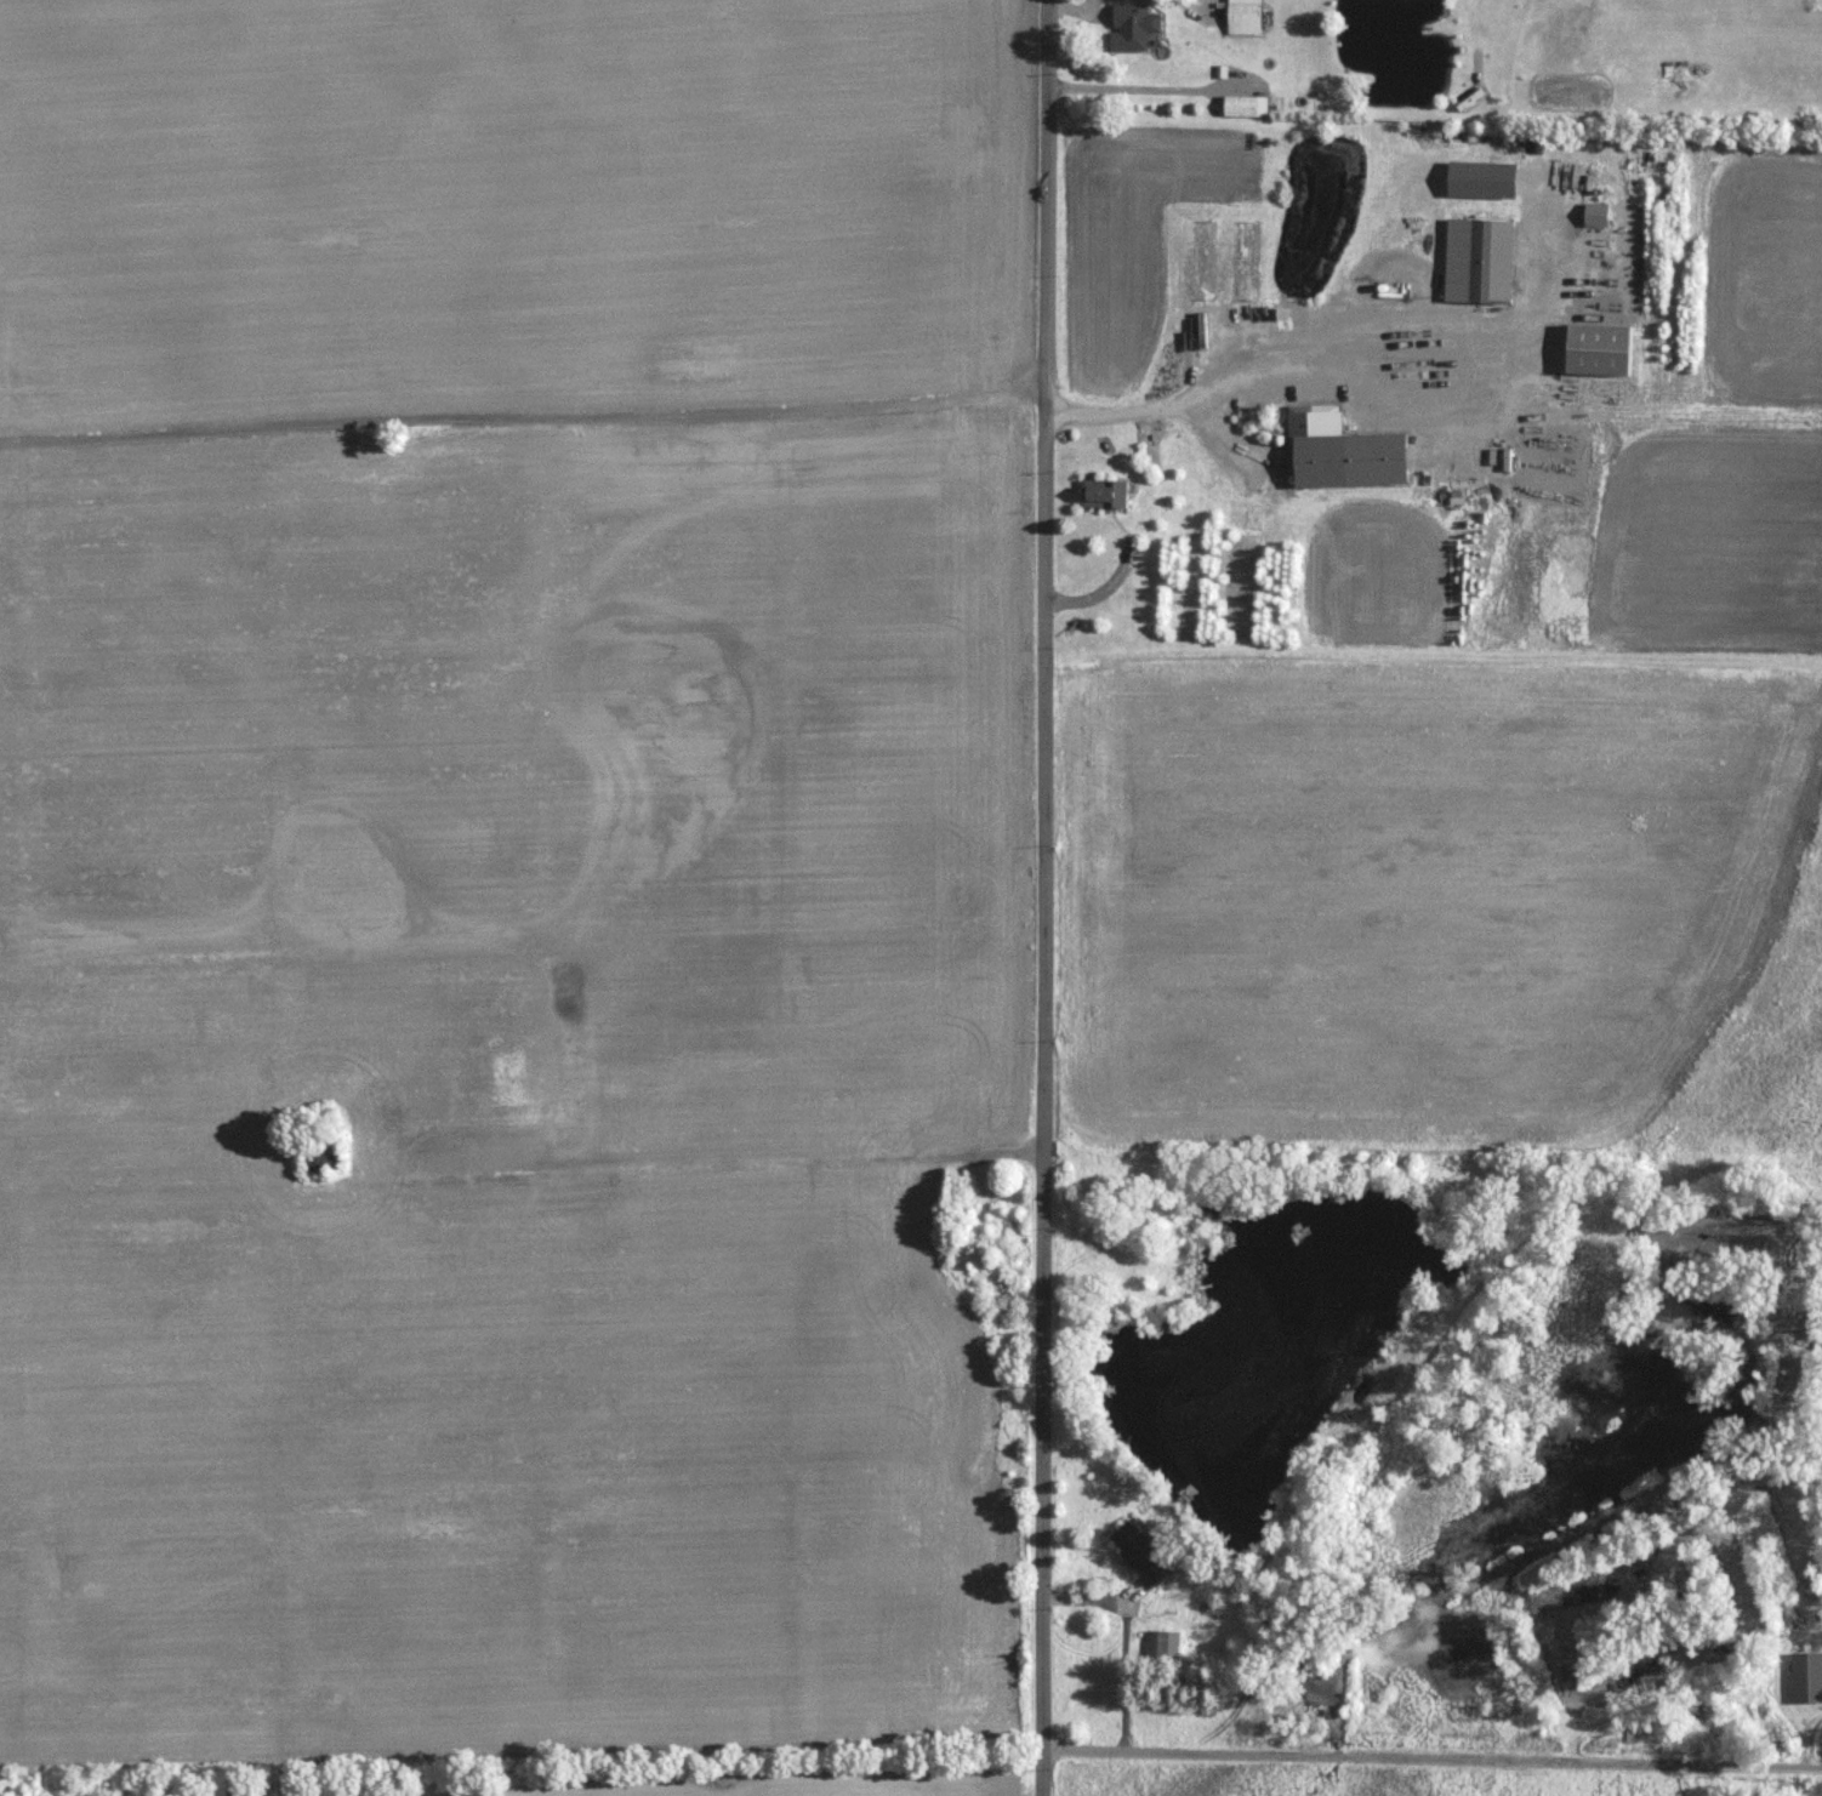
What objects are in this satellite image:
building: (1245, 16)
building: (1133, 24)
road: (1126, 87)
building: (1246, 106)
building: (1202, 258)
building: (1246, 260)
building: (1480, 260)
road: (1293, 353)
building: (1345, 454)
building: (1105, 491)
road: (1044, 897)
building: (320, 1154)
building: (1141, 1552)
road: (1122, 1640)
building: (1161, 1643)
building: (1806, 1677)
building: (1630, 1732)
road: (1431, 1760)

